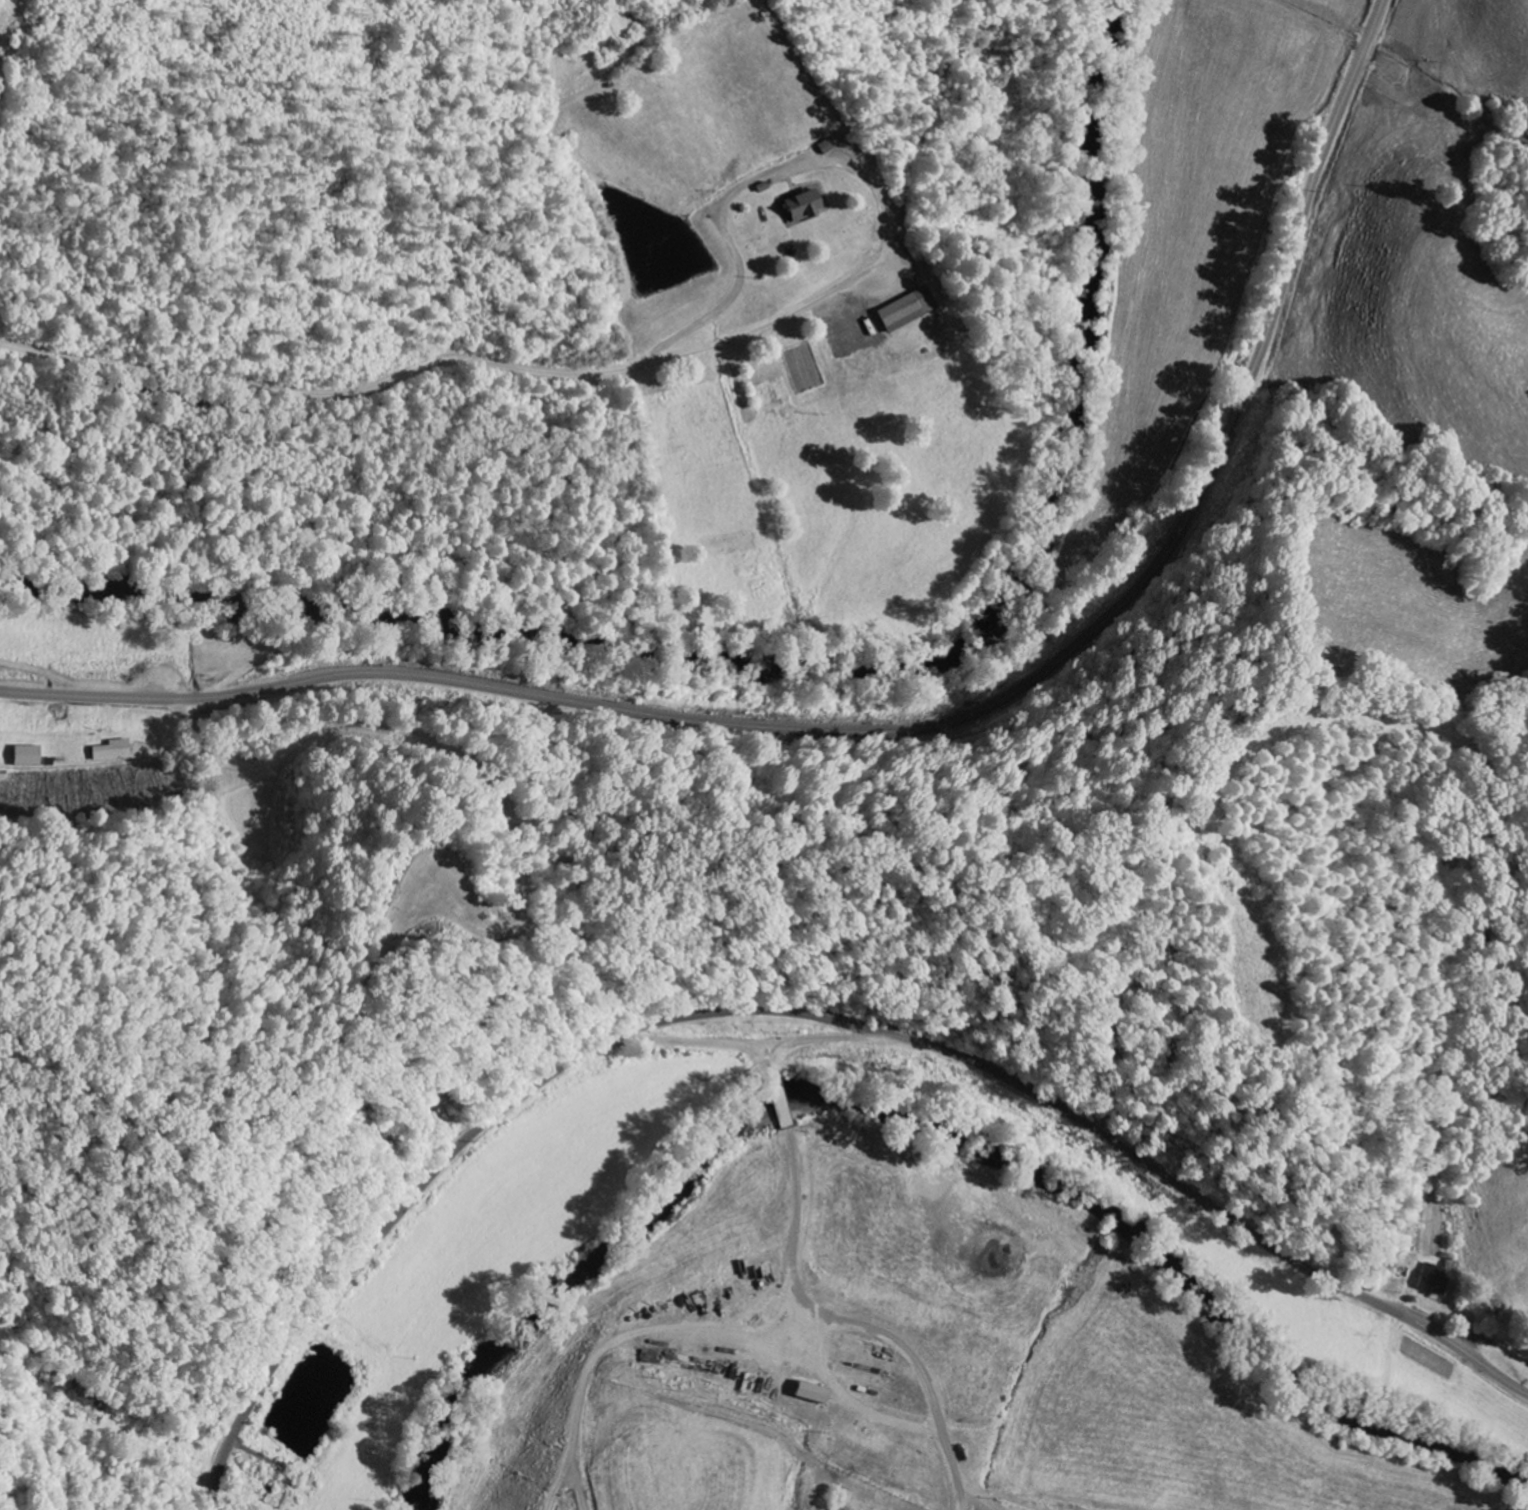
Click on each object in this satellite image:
building: (801, 205)
building: (905, 310)
road: (453, 362)
river: (823, 677)
road: (909, 727)
building: (111, 751)
building: (26, 756)
road: (807, 1018)
river: (930, 1118)
building: (1432, 1280)
building: (808, 1393)

